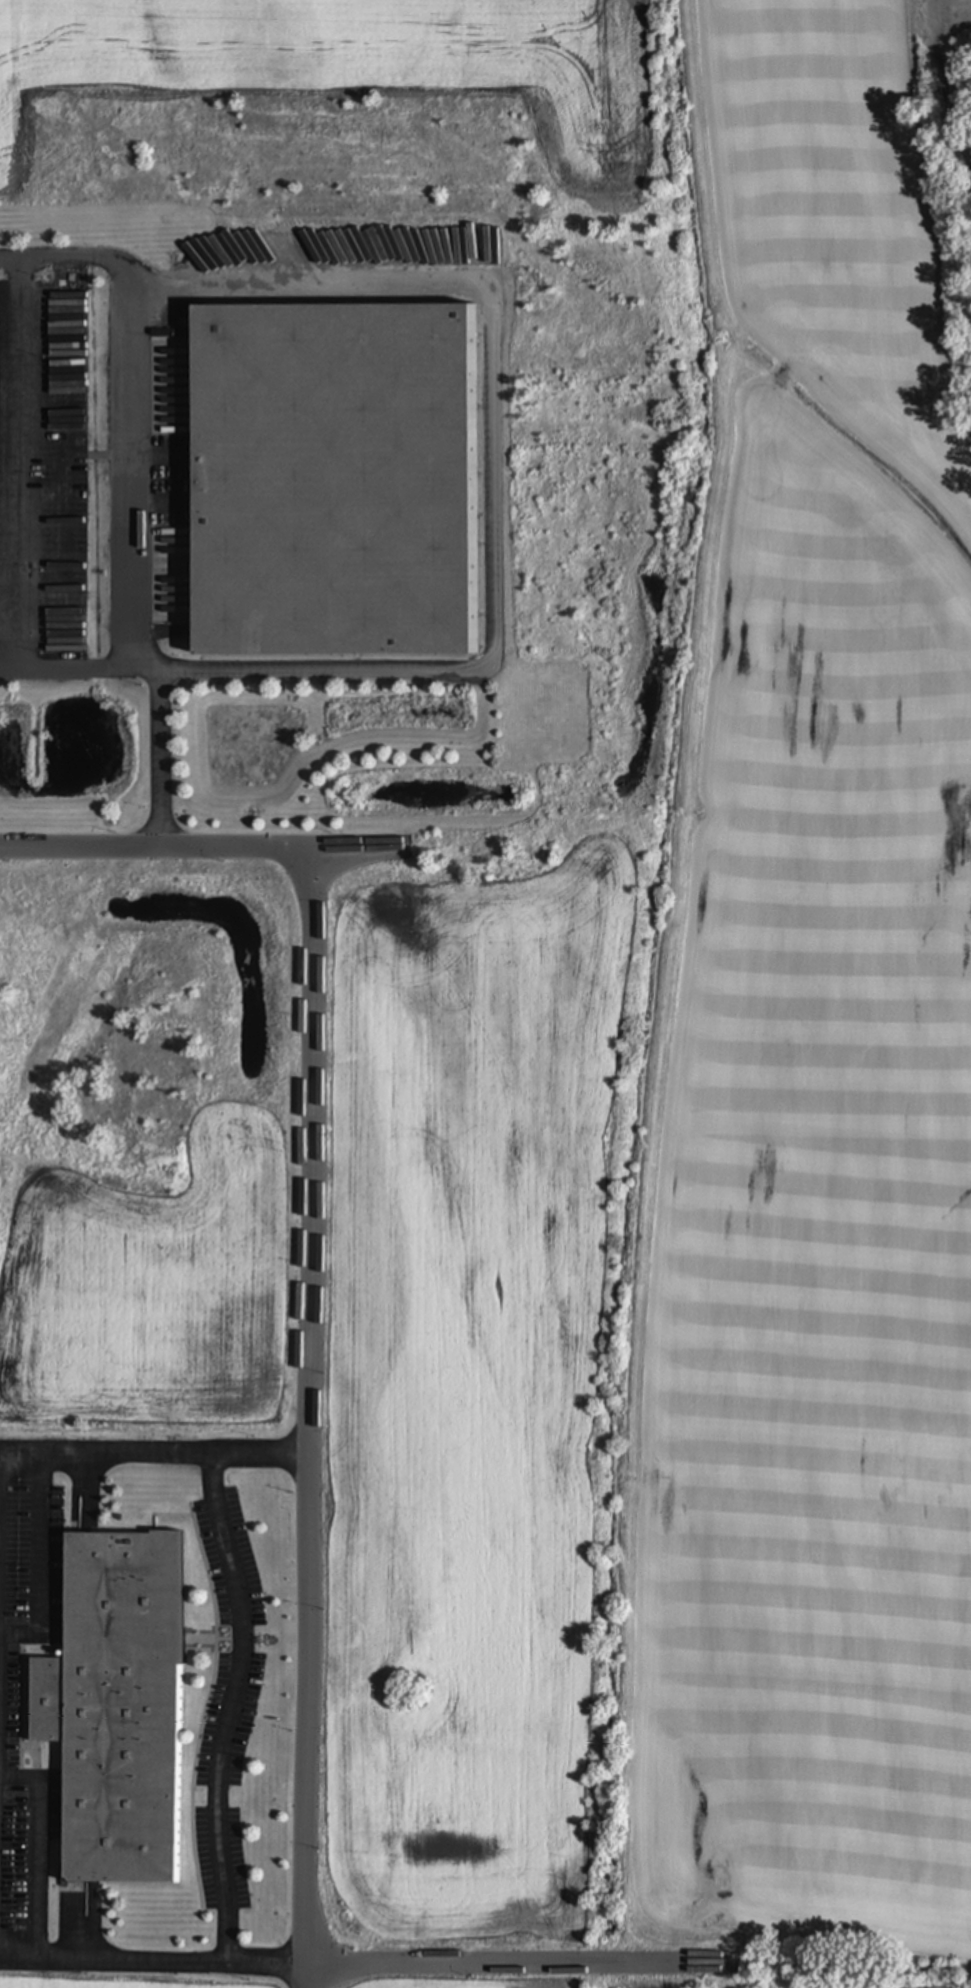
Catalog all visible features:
building: (301, 428)
road: (17, 463)
road: (495, 469)
road: (136, 473)
road: (157, 755)
road: (197, 849)
road: (307, 1418)
road: (96, 1458)
road: (39, 1566)
building: (117, 1706)
road: (229, 1707)
road: (36, 1849)
road: (151, 1959)
road: (515, 1964)

